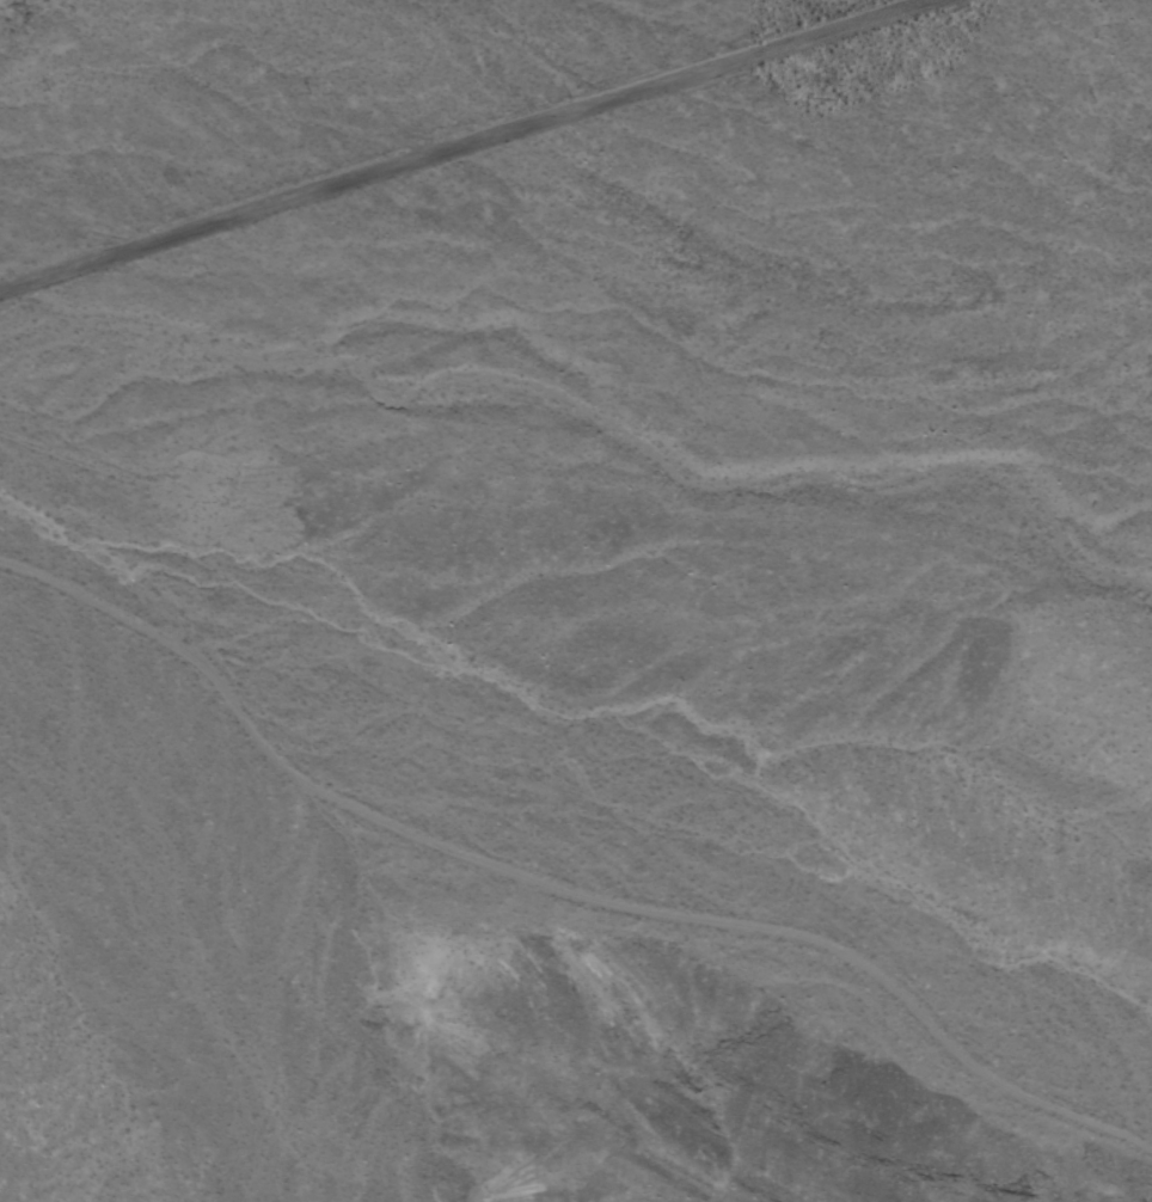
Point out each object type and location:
road: (468, 146)
road: (560, 884)

